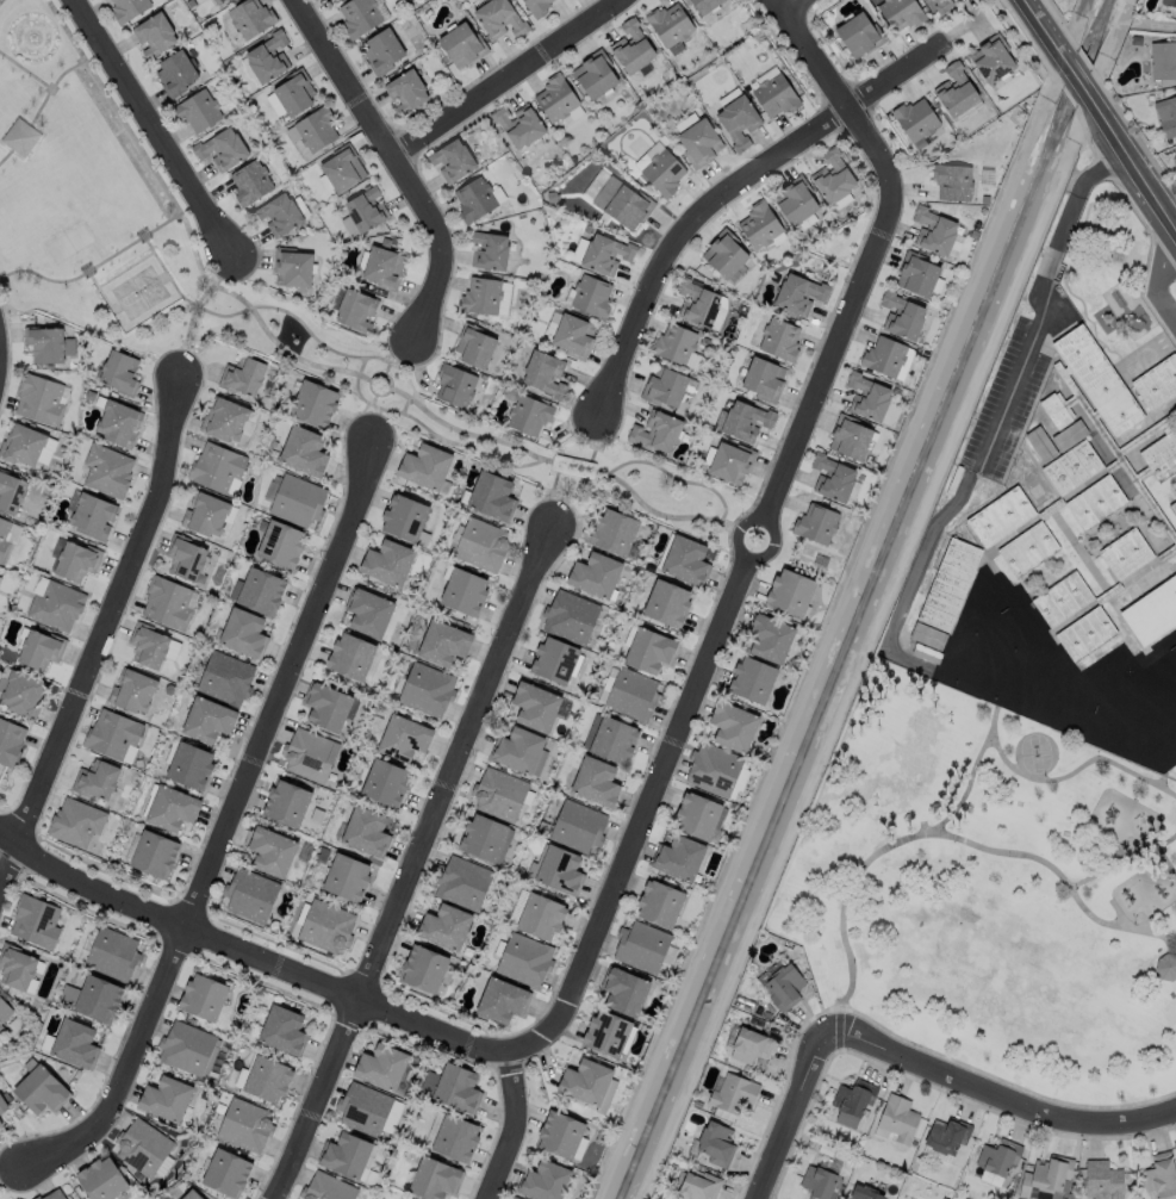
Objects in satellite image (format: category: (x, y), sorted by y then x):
road: (0, 0)
building: (335, 0)
building: (219, 1)
building: (937, 1)
building: (1168, 2)
building: (701, 5)
building: (539, 7)
road: (798, 7)
building: (130, 10)
building: (493, 11)
building: (901, 13)
building: (248, 18)
building: (356, 18)
building: (668, 24)
road: (66, 30)
building: (458, 32)
building: (859, 35)
building: (153, 36)
building: (630, 48)
building: (380, 52)
building: (267, 57)
building: (994, 60)
building: (1162, 60)
building: (174, 63)
building: (592, 67)
road: (24, 70)
building: (404, 81)
road: (509, 83)
road: (50, 86)
building: (288, 86)
building: (553, 91)
building: (958, 93)
road: (840, 95)
building: (773, 97)
building: (194, 101)
road: (1102, 113)
building: (1166, 116)
building: (917, 118)
building: (522, 119)
building: (310, 120)
building: (736, 122)
road: (154, 132)
building: (20, 137)
road: (20, 137)
building: (222, 138)
building: (697, 143)
building: (450, 150)
road: (6, 154)
building: (338, 160)
road: (392, 161)
building: (245, 172)
building: (661, 173)
building: (832, 175)
building: (951, 181)
building: (471, 188)
park: (85, 192)
building: (795, 198)
road: (724, 199)
building: (362, 200)
building: (281, 201)
building: (627, 207)
building: (758, 223)
building: (938, 234)
building: (490, 240)
building: (604, 251)
building: (723, 251)
building: (292, 255)
building: (377, 255)
road: (158, 259)
road: (95, 266)
road: (125, 268)
park: (1109, 273)
building: (919, 278)
road: (1155, 282)
building: (477, 284)
building: (584, 284)
park: (139, 291)
building: (798, 292)
road: (101, 296)
building: (350, 297)
road: (1038, 297)
building: (696, 300)
building: (904, 318)
building: (566, 322)
building: (474, 337)
building: (778, 337)
building: (673, 342)
building: (52, 344)
building: (888, 356)
building: (539, 360)
building: (114, 361)
building: (242, 365)
building: (449, 374)
building: (763, 378)
building: (1100, 379)
building: (662, 385)
building: (1159, 386)
building: (311, 391)
building: (39, 396)
building: (870, 400)
building: (527, 404)
building: (225, 409)
building: (116, 411)
building: (1058, 412)
building: (745, 418)
building: (655, 429)
building: (1069, 435)
building: (303, 440)
building: (852, 440)
building: (24, 443)
building: (1040, 443)
building: (424, 455)
building: (212, 456)
building: (1162, 458)
building: (729, 460)
building: (101, 461)
building: (1074, 468)
building: (834, 480)
building: (487, 483)
building: (292, 489)
building: (13, 495)
building: (206, 503)
building: (87, 504)
building: (1097, 504)
building: (402, 505)
building: (1174, 509)
building: (1003, 518)
building: (819, 524)
building: (615, 529)
building: (278, 532)
building: (477, 533)
building: (5, 534)
building: (192, 547)
building: (69, 549)
building: (384, 551)
building: (1029, 551)
building: (1130, 555)
building: (684, 560)
building: (591, 564)
building: (257, 578)
building: (460, 579)
building: (948, 584)
building: (1152, 591)
building: (49, 592)
building: (164, 592)
building: (791, 592)
building: (1064, 601)
building: (367, 602)
building: (665, 602)
building: (567, 607)
building: (239, 622)
building: (438, 633)
road: (101, 635)
road: (716, 635)
building: (927, 635)
building: (1089, 635)
building: (150, 636)
building: (766, 638)
building: (35, 639)
building: (350, 646)
building: (553, 650)
building: (648, 650)
building: (220, 667)
building: (18, 678)
building: (132, 678)
building: (421, 678)
building: (754, 681)
building: (631, 694)
building: (531, 697)
building: (323, 698)
building: (204, 707)
building: (110, 725)
building: (734, 725)
building: (398, 727)
building: (7, 731)
building: (610, 738)
building: (516, 740)
building: (304, 744)
park: (1035, 752)
building: (187, 754)
building: (715, 770)
building: (97, 771)
building: (381, 771)
road: (1079, 771)
building: (591, 772)
building: (496, 782)
building: (286, 790)
building: (169, 799)
building: (311, 804)
building: (74, 814)
building: (571, 815)
building: (698, 816)
building: (361, 819)
road: (223, 827)
building: (481, 827)
building: (269, 839)
building: (153, 840)
road: (1168, 841)
road: (878, 856)
building: (679, 857)
building: (554, 859)
road: (419, 863)
road: (1128, 863)
building: (343, 864)
building: (458, 872)
road: (1063, 878)
building: (247, 884)
park: (993, 892)
building: (660, 903)
building: (536, 907)
building: (441, 914)
building: (321, 915)
building: (37, 921)
road: (1174, 943)
building: (642, 946)
building: (518, 950)
building: (113, 952)
building: (422, 957)
road: (249, 958)
building: (17, 967)
building: (1168, 968)
building: (783, 986)
building: (496, 988)
building: (624, 994)
building: (204, 995)
building: (99, 998)
building: (5, 1008)
building: (284, 1029)
building: (1, 1030)
building: (608, 1033)
building: (76, 1043)
building: (748, 1045)
building: (191, 1048)
building: (381, 1067)
building: (269, 1080)
building: (585, 1082)
building: (458, 1088)
building: (43, 1091)
building: (732, 1093)
road: (998, 1093)
building: (853, 1097)
building: (166, 1099)
building: (365, 1110)
building: (5, 1113)
road: (799, 1114)
building: (897, 1118)
building: (247, 1125)
road: (512, 1126)
building: (560, 1133)
building: (946, 1135)
building: (456, 1138)
building: (715, 1143)
building: (143, 1147)
building: (347, 1155)
building: (997, 1156)
building: (226, 1172)
building: (1158, 1173)
building: (1045, 1175)
building: (435, 1179)
building: (105, 1180)
building: (546, 1180)
building: (1102, 1180)
building: (817, 1182)
building: (697, 1186)
building: (329, 1187)
building: (865, 1193)
building: (55, 1194)
building: (192, 1195)
building: (400, 1198)
building: (516, 1198)

